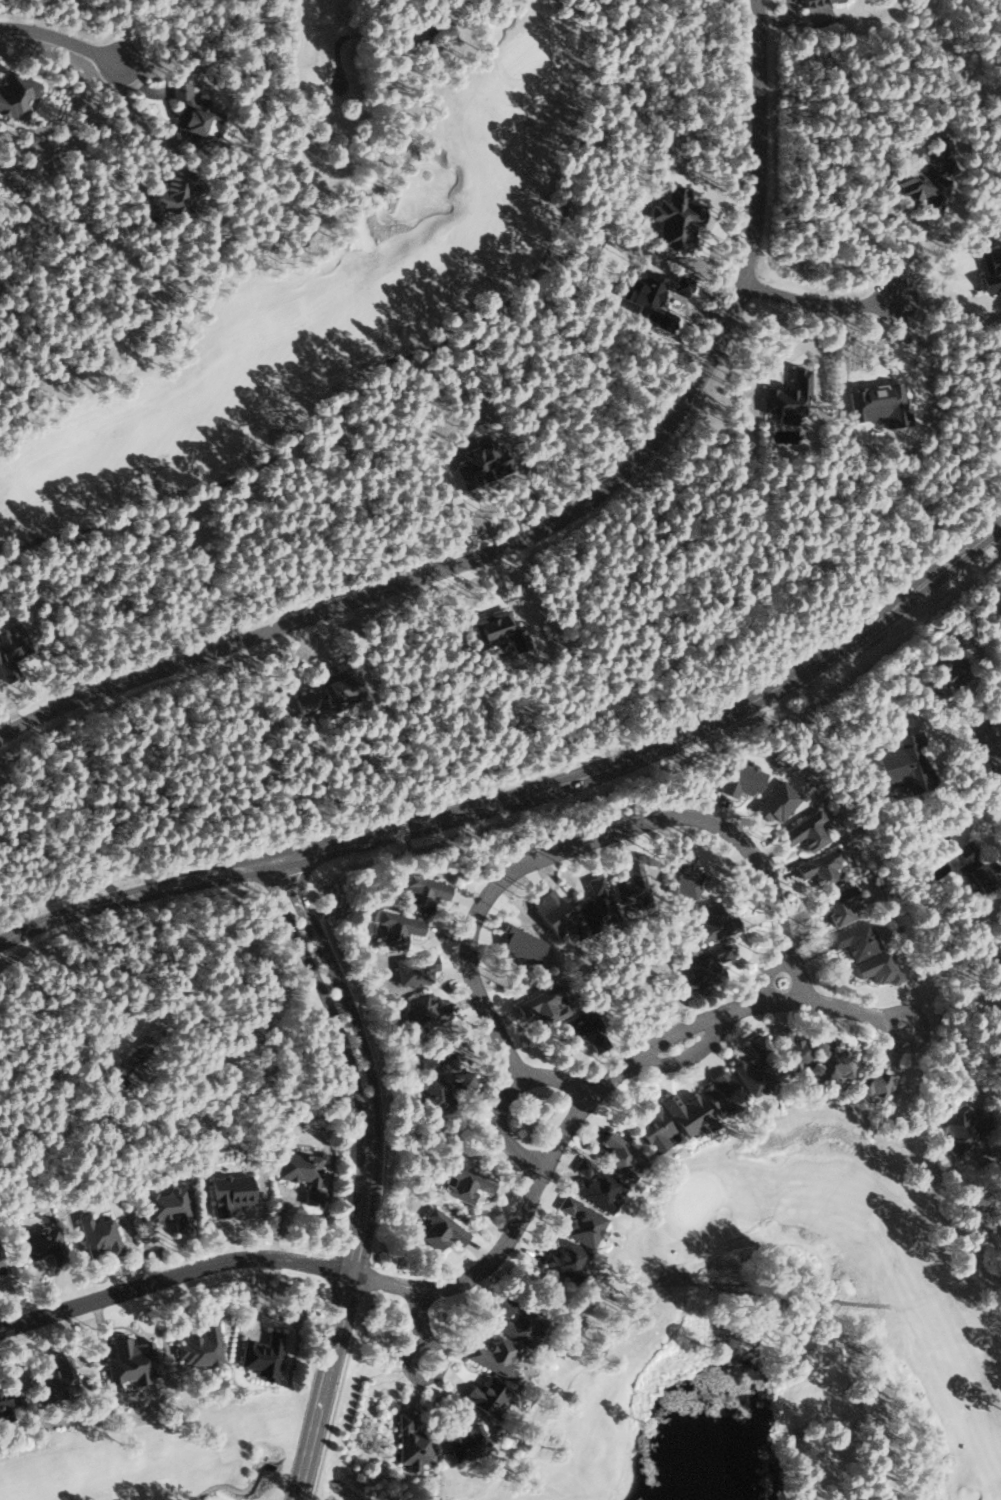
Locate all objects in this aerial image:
building: (812, 2)
road: (62, 35)
building: (16, 94)
building: (194, 116)
road: (141, 125)
building: (942, 147)
building: (923, 187)
building: (175, 190)
building: (676, 219)
park: (323, 272)
road: (832, 305)
building: (788, 395)
building: (482, 464)
road: (562, 523)
building: (498, 630)
building: (10, 650)
building: (948, 674)
road: (704, 677)
building: (332, 691)
road: (1000, 763)
building: (905, 765)
building: (742, 779)
road: (529, 797)
building: (777, 802)
building: (806, 831)
road: (563, 857)
building: (822, 868)
building: (974, 868)
building: (683, 875)
building: (632, 886)
building: (423, 891)
building: (596, 905)
building: (836, 905)
building: (552, 912)
building: (713, 924)
building: (398, 928)
building: (856, 939)
building: (521, 945)
building: (704, 966)
building: (878, 967)
building: (415, 969)
building: (540, 1007)
building: (422, 1013)
building: (581, 1029)
road: (964, 1036)
building: (792, 1051)
building: (753, 1071)
building: (120, 1074)
building: (870, 1079)
building: (436, 1081)
road: (591, 1091)
building: (722, 1094)
building: (689, 1115)
building: (653, 1126)
building: (960, 1129)
building: (620, 1155)
building: (302, 1172)
road: (374, 1177)
building: (466, 1181)
building: (597, 1185)
building: (230, 1192)
building: (170, 1206)
building: (582, 1220)
building: (441, 1228)
building: (99, 1233)
building: (42, 1240)
building: (563, 1255)
building: (1, 1264)
road: (174, 1279)
road: (691, 1282)
road: (427, 1315)
building: (518, 1318)
park: (788, 1333)
road: (427, 1341)
building: (201, 1345)
building: (263, 1354)
building: (495, 1355)
building: (131, 1360)
building: (54, 1378)
building: (488, 1394)
building: (7, 1403)
building: (466, 1440)
building: (413, 1442)
park: (208, 1456)
road: (235, 1487)
road: (346, 1489)

